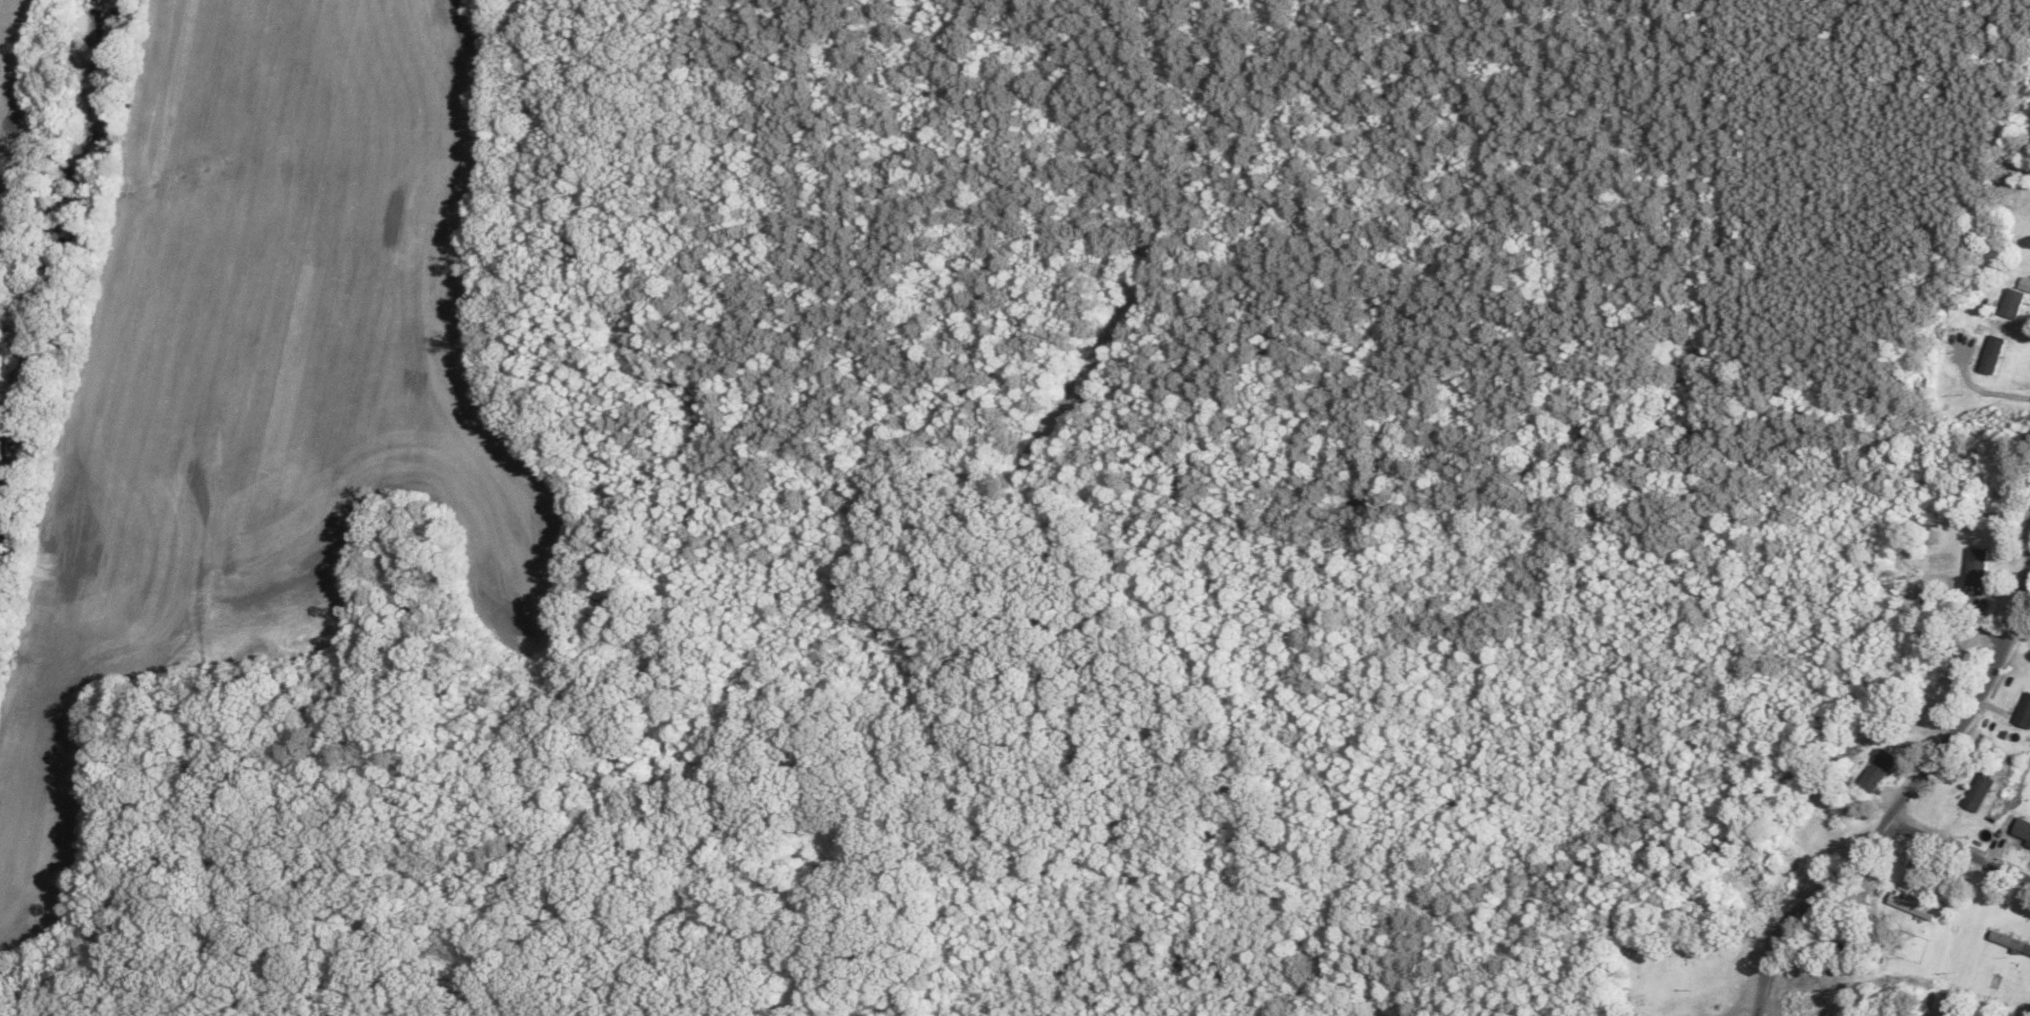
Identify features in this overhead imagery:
building: (1973, 567)
building: (2022, 712)
building: (1872, 772)
building: (1974, 794)
road: (1923, 815)
road: (1964, 880)
building: (1775, 881)
building: (1905, 906)
building: (2008, 944)

